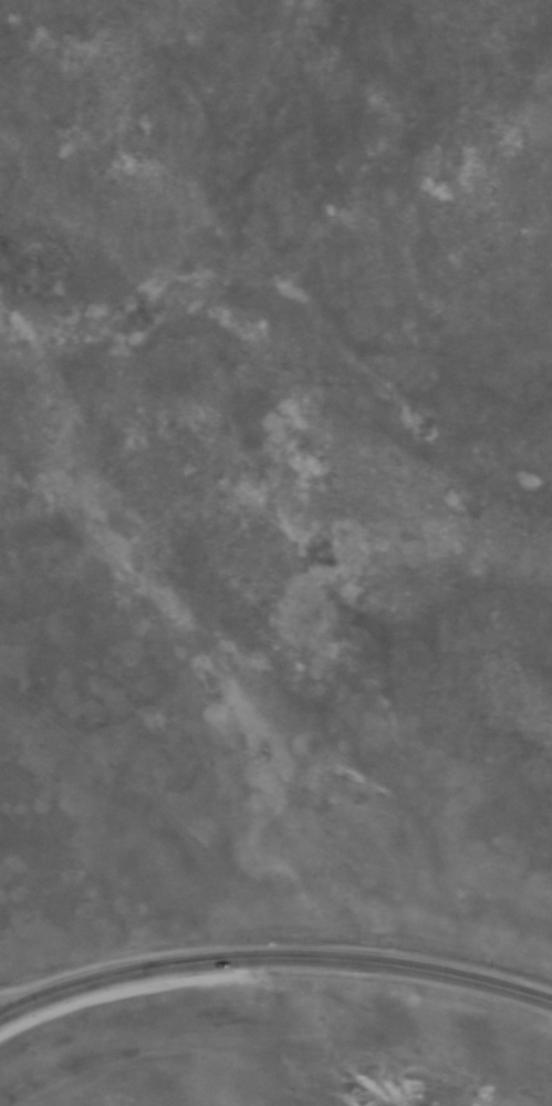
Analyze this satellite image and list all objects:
road: (274, 950)

